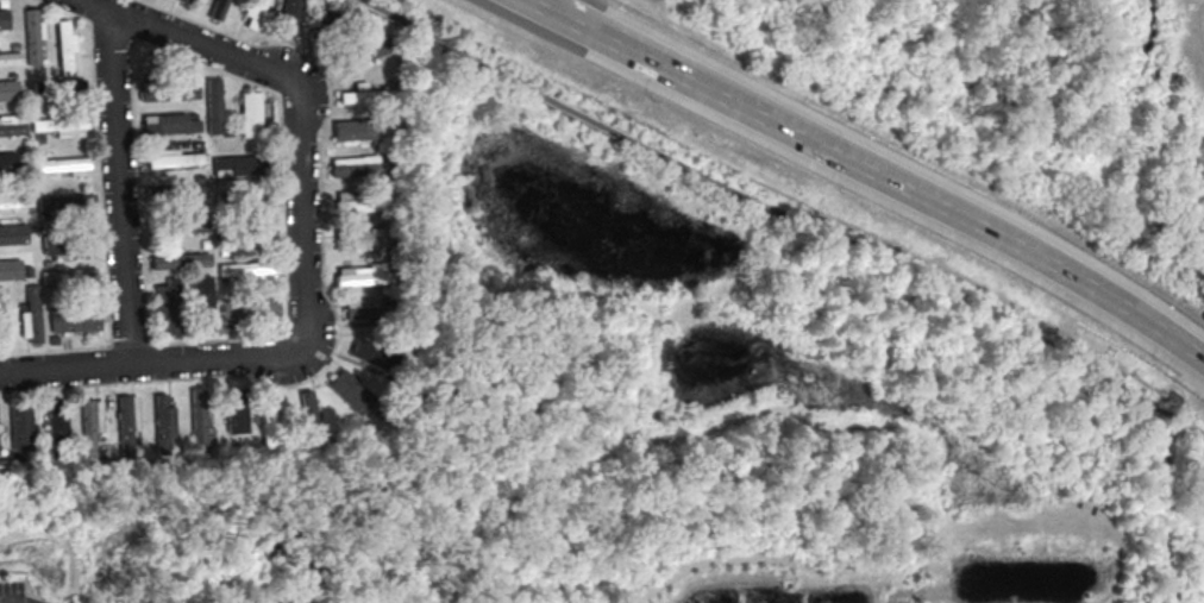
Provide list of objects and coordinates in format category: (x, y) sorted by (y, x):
building: (217, 7)
building: (289, 17)
building: (2, 18)
building: (33, 36)
road: (195, 39)
building: (65, 48)
building: (365, 51)
building: (10, 57)
building: (8, 89)
building: (363, 94)
building: (213, 105)
building: (249, 113)
building: (170, 123)
building: (12, 125)
building: (61, 125)
building: (352, 128)
building: (173, 157)
building: (7, 162)
road: (847, 162)
building: (64, 164)
building: (233, 165)
building: (352, 165)
road: (119, 184)
building: (188, 190)
building: (247, 197)
building: (15, 200)
building: (357, 200)
building: (65, 201)
road: (761, 207)
road: (303, 209)
building: (182, 224)
building: (12, 233)
building: (358, 238)
building: (56, 244)
building: (180, 259)
building: (240, 268)
building: (10, 269)
building: (362, 274)
building: (69, 276)
building: (206, 302)
building: (167, 306)
building: (266, 306)
building: (362, 307)
building: (31, 315)
building: (75, 319)
road: (1171, 338)
building: (366, 350)
road: (1191, 350)
road: (158, 362)
building: (351, 390)
building: (197, 417)
building: (311, 417)
building: (236, 419)
building: (266, 421)
road: (1185, 421)
building: (161, 422)
building: (20, 423)
building: (56, 425)
building: (124, 425)
building: (88, 427)

